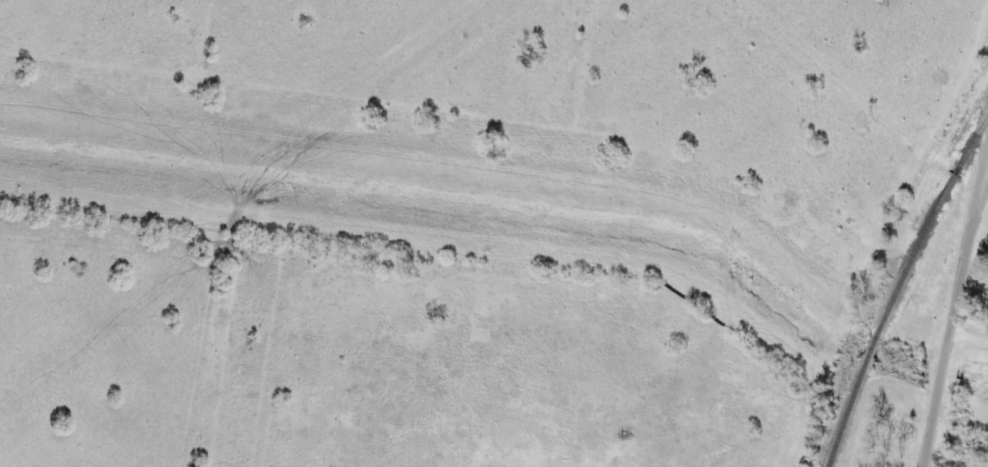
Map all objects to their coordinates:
road: (986, 176)
railway: (896, 285)
road: (958, 313)

